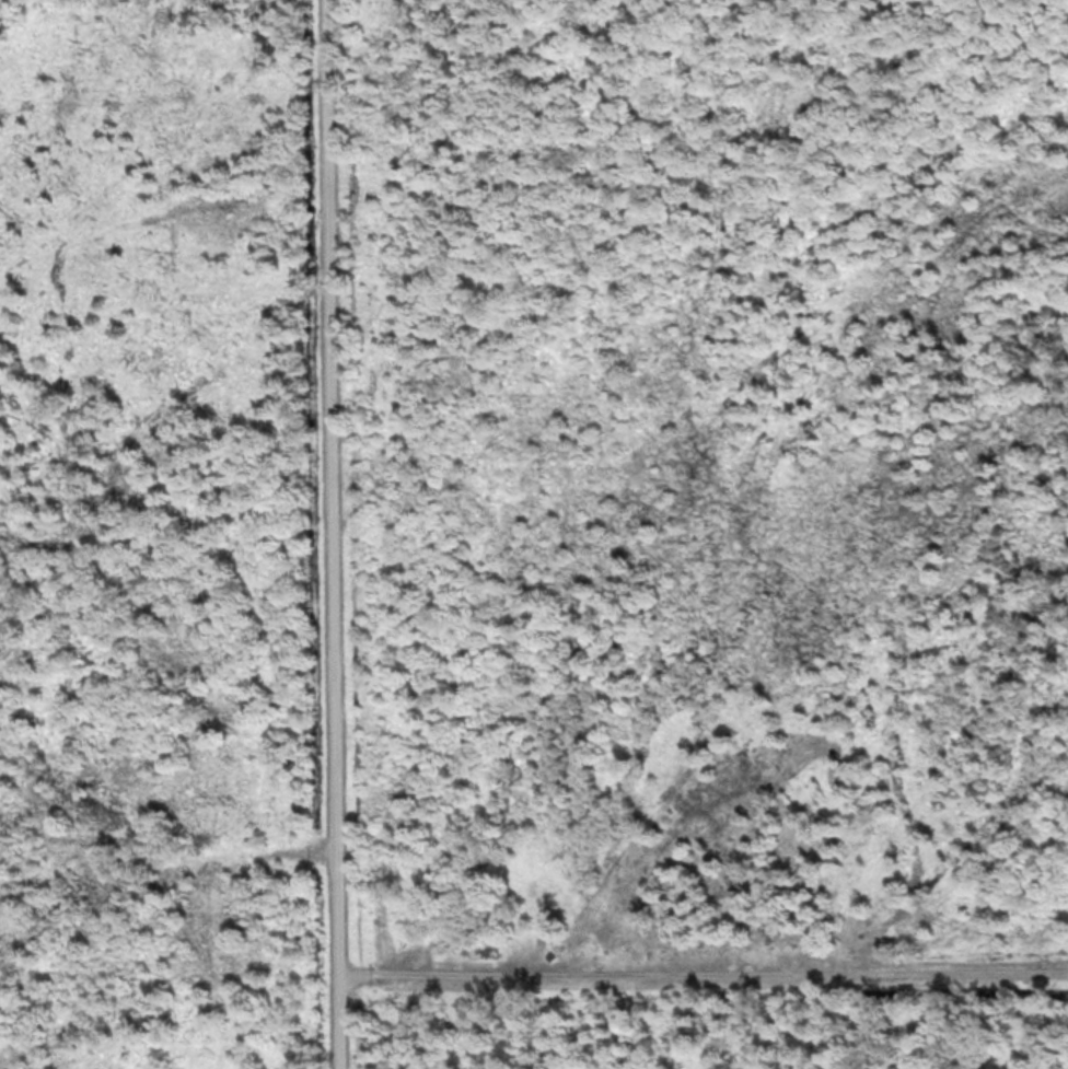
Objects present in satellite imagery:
road: (328, 534)

